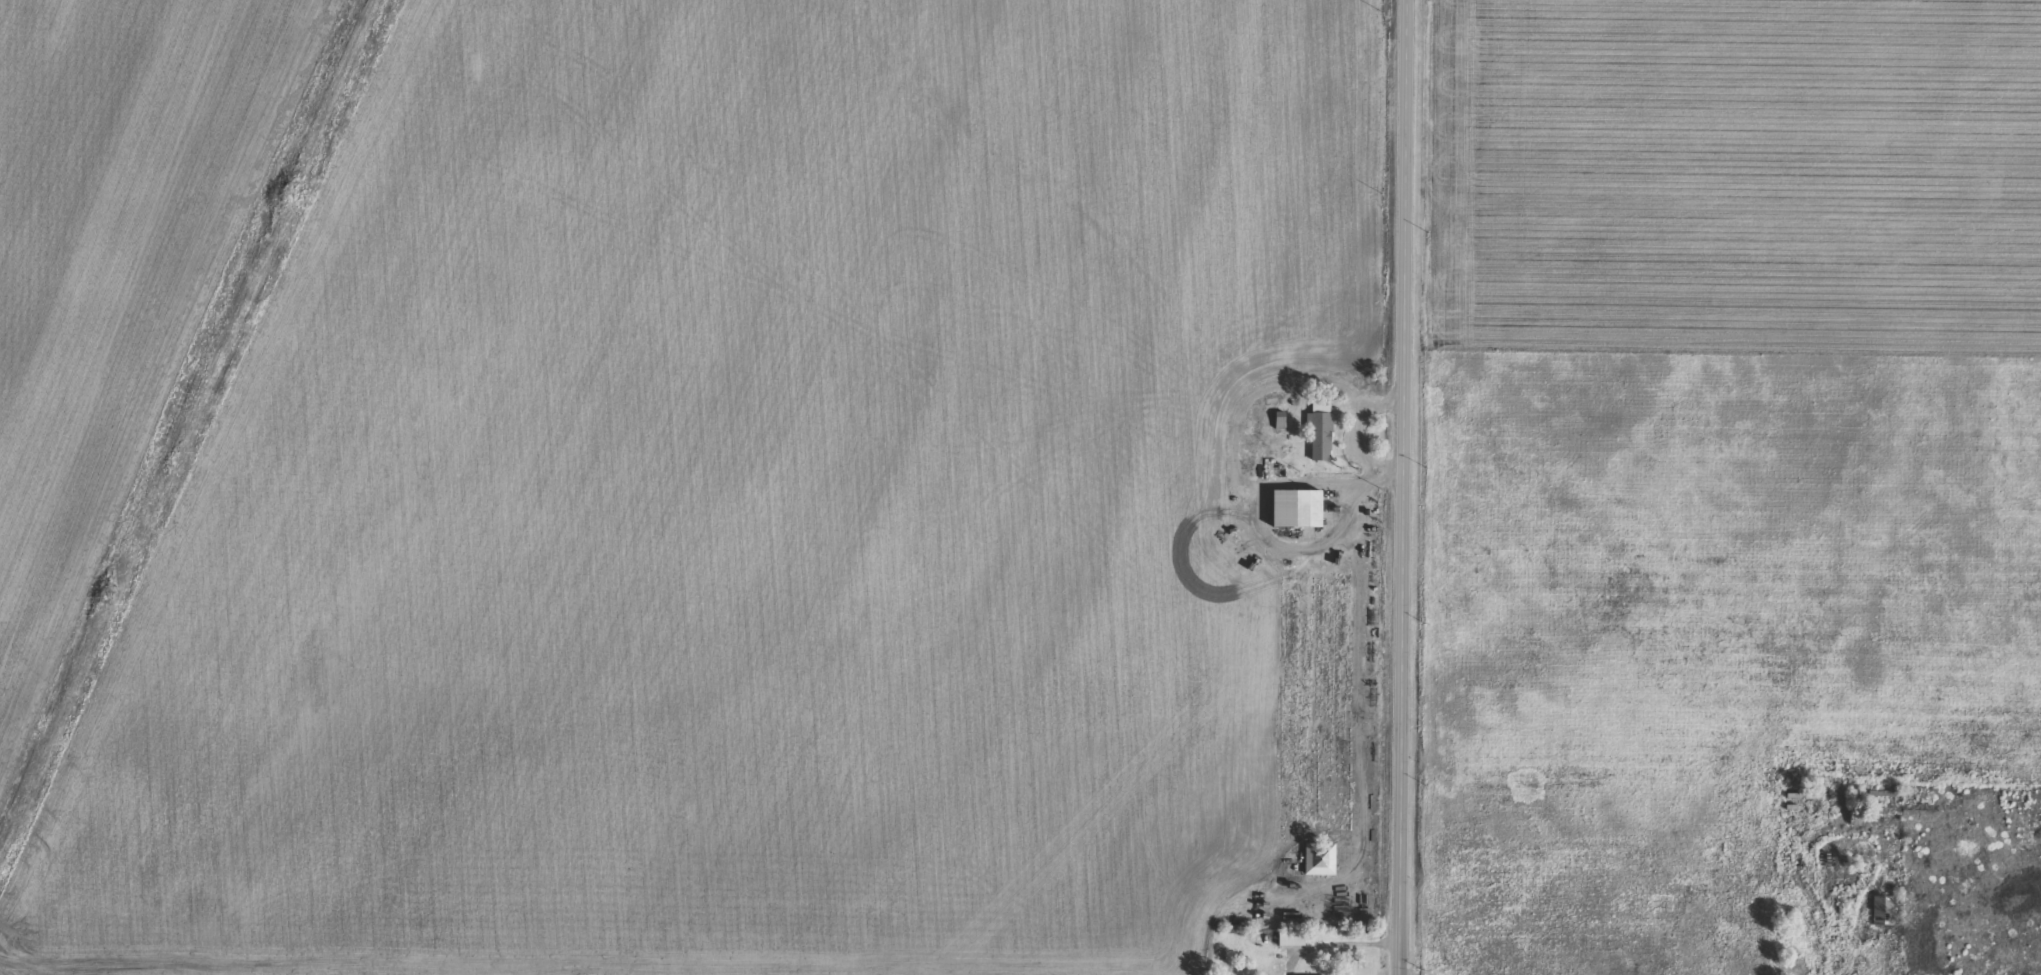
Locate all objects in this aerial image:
railway: (190, 422)
building: (1281, 428)
building: (1321, 439)
road: (1403, 487)
building: (1300, 516)
building: (1320, 868)
building: (1884, 915)
building: (1292, 947)

